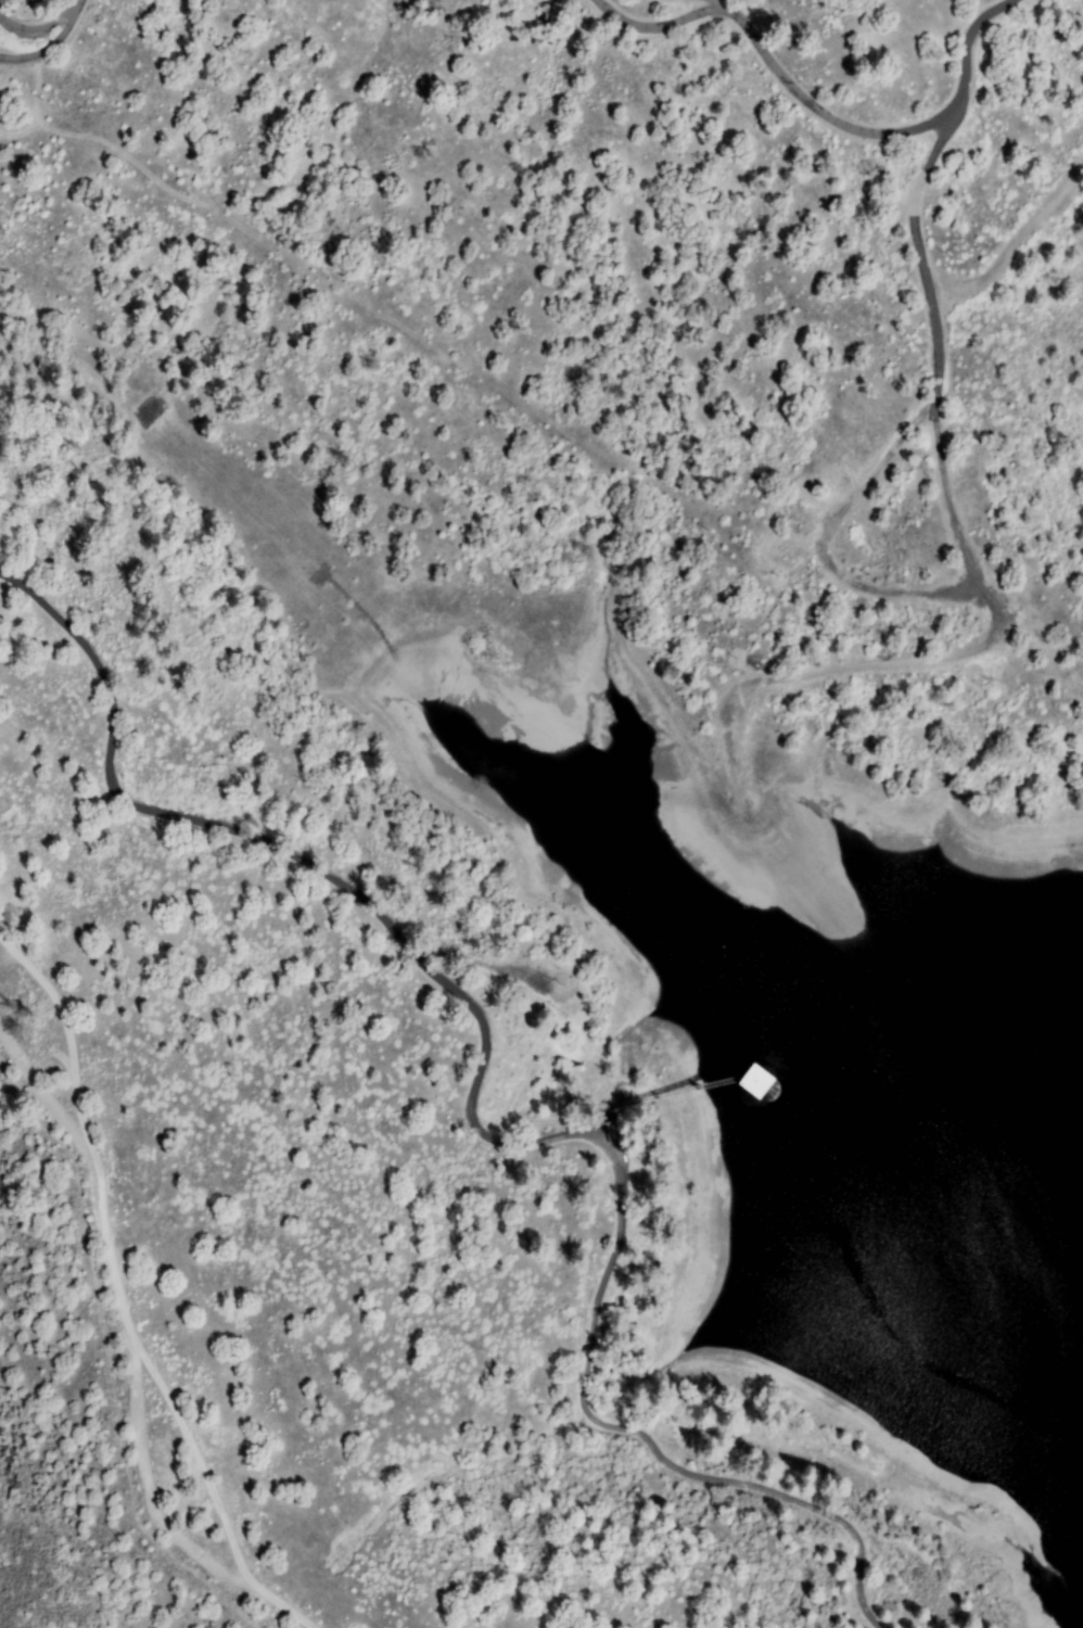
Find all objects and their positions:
building: (610, 9)
road: (54, 48)
road: (823, 111)
building: (738, 1080)
road: (659, 1094)
road: (477, 1114)
road: (593, 1123)
building: (613, 1132)
road: (123, 1296)

